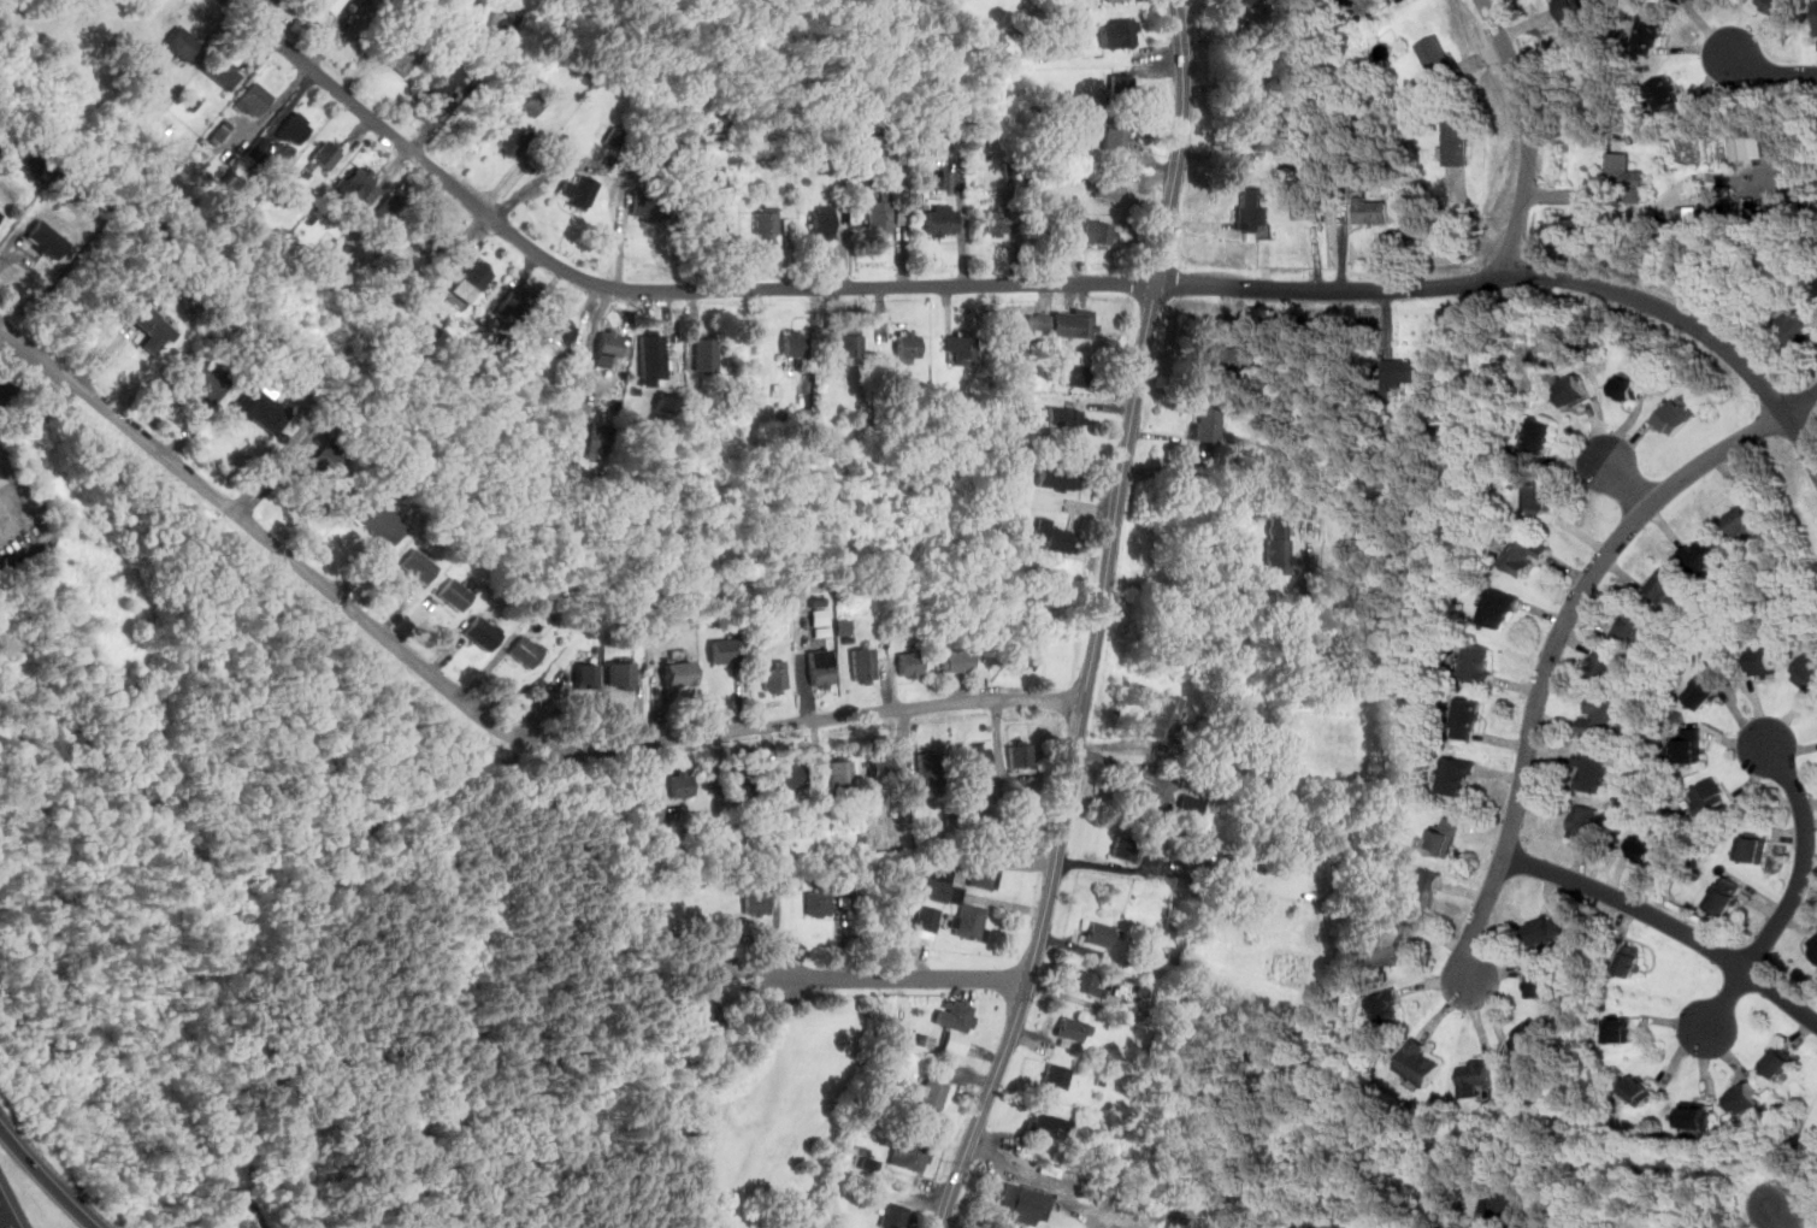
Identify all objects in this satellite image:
building: (1111, 0)
building: (1692, 0)
building: (1249, 1)
building: (1567, 2)
building: (331, 5)
building: (1775, 5)
building: (1816, 18)
building: (509, 20)
building: (1120, 33)
building: (1650, 34)
building: (183, 42)
building: (1258, 52)
building: (407, 54)
building: (1437, 58)
building: (223, 70)
road: (1771, 71)
building: (447, 78)
building: (1117, 88)
building: (1665, 93)
building: (254, 98)
building: (533, 104)
building: (1263, 126)
building: (295, 129)
road: (1528, 135)
building: (615, 136)
building: (1456, 137)
building: (512, 141)
building: (1747, 146)
building: (328, 153)
building: (1627, 173)
building: (931, 177)
building: (358, 184)
building: (1109, 187)
building: (577, 190)
building: (648, 207)
building: (390, 208)
building: (1303, 208)
building: (1374, 208)
building: (1252, 212)
building: (2, 214)
building: (880, 214)
building: (1688, 214)
building: (768, 218)
building: (942, 219)
building: (824, 220)
building: (714, 222)
building: (996, 222)
building: (1098, 231)
building: (431, 237)
building: (47, 240)
building: (472, 279)
building: (1816, 285)
road: (822, 287)
building: (513, 303)
road: (1666, 312)
building: (1062, 323)
building: (153, 325)
building: (1797, 327)
building: (562, 332)
building: (653, 343)
building: (851, 344)
building: (795, 346)
building: (908, 346)
building: (962, 346)
building: (609, 347)
building: (707, 353)
building: (1247, 360)
building: (1078, 368)
building: (1408, 370)
building: (203, 379)
building: (1630, 388)
building: (1574, 390)
building: (265, 408)
road: (1805, 413)
building: (1675, 415)
building: (1066, 418)
building: (1208, 423)
road: (1813, 426)
building: (1538, 433)
building: (600, 439)
road: (1801, 439)
building: (330, 470)
building: (1058, 474)
road: (1628, 486)
building: (1540, 497)
building: (1, 501)
road: (17, 507)
building: (1745, 518)
building: (380, 519)
building: (1052, 533)
building: (1278, 545)
building: (1523, 553)
building: (1706, 553)
building: (419, 566)
road: (1186, 574)
building: (1665, 584)
building: (458, 592)
building: (1351, 601)
building: (1498, 608)
road: (1098, 620)
building: (842, 626)
building: (1634, 627)
road: (1561, 630)
building: (482, 633)
building: (529, 650)
building: (727, 650)
building: (1025, 659)
building: (955, 660)
building: (1763, 660)
building: (1477, 662)
building: (1601, 662)
building: (863, 665)
building: (910, 665)
building: (821, 668)
building: (1806, 669)
building: (621, 673)
building: (680, 673)
building: (588, 674)
building: (774, 677)
building: (1706, 689)
road: (480, 712)
building: (1601, 713)
building: (1164, 715)
building: (1468, 719)
building: (1689, 746)
building: (1020, 754)
building: (978, 762)
building: (881, 767)
building: (843, 768)
building: (927, 768)
building: (1593, 769)
building: (1456, 775)
building: (743, 779)
building: (786, 779)
building: (682, 783)
building: (1143, 795)
building: (1707, 795)
building: (1191, 804)
building: (1583, 822)
building: (1444, 837)
building: (1123, 848)
building: (1752, 848)
building: (1642, 849)
building: (985, 872)
building: (936, 884)
building: (1417, 885)
road: (1792, 892)
building: (1725, 895)
building: (757, 902)
building: (819, 902)
building: (927, 919)
building: (971, 922)
road: (1668, 922)
building: (1548, 929)
building: (1099, 933)
building: (1394, 940)
building: (1813, 944)
building: (1632, 960)
road: (905, 978)
building: (1539, 981)
building: (1085, 982)
building: (718, 1009)
building: (1386, 1009)
building: (956, 1015)
building: (1618, 1029)
building: (1072, 1031)
building: (1529, 1035)
building: (956, 1043)
building: (1778, 1061)
building: (1420, 1063)
building: (1056, 1075)
building: (1474, 1075)
building: (1639, 1090)
building: (932, 1092)
building: (1744, 1098)
building: (1695, 1114)
building: (1044, 1122)
building: (914, 1155)
building: (867, 1163)
road: (46, 1179)
building: (1021, 1204)
building: (1512, 1205)
building: (895, 1215)
road: (1781, 1218)
road: (4, 1221)
building: (794, 1227)

